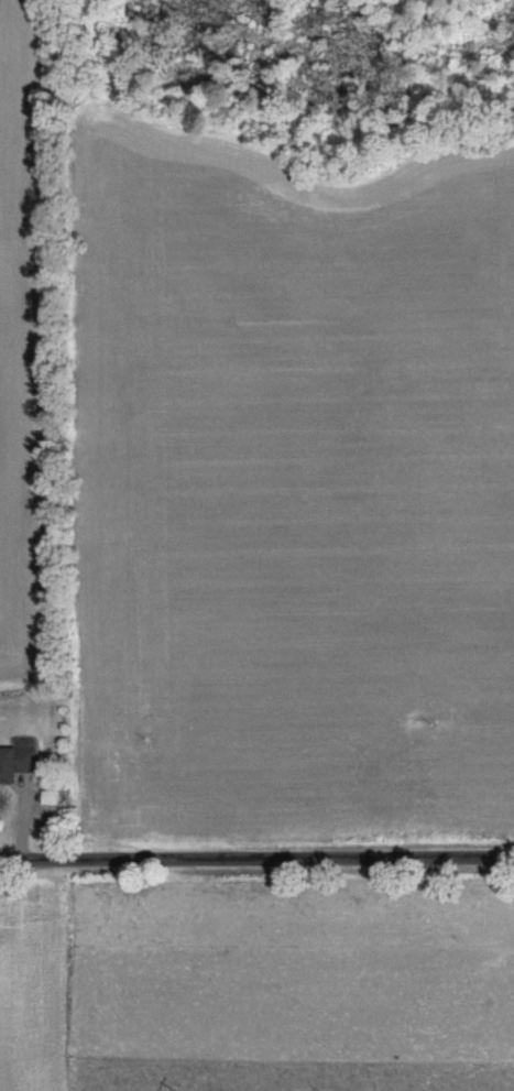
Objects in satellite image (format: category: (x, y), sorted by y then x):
building: (18, 764)
road: (256, 850)

